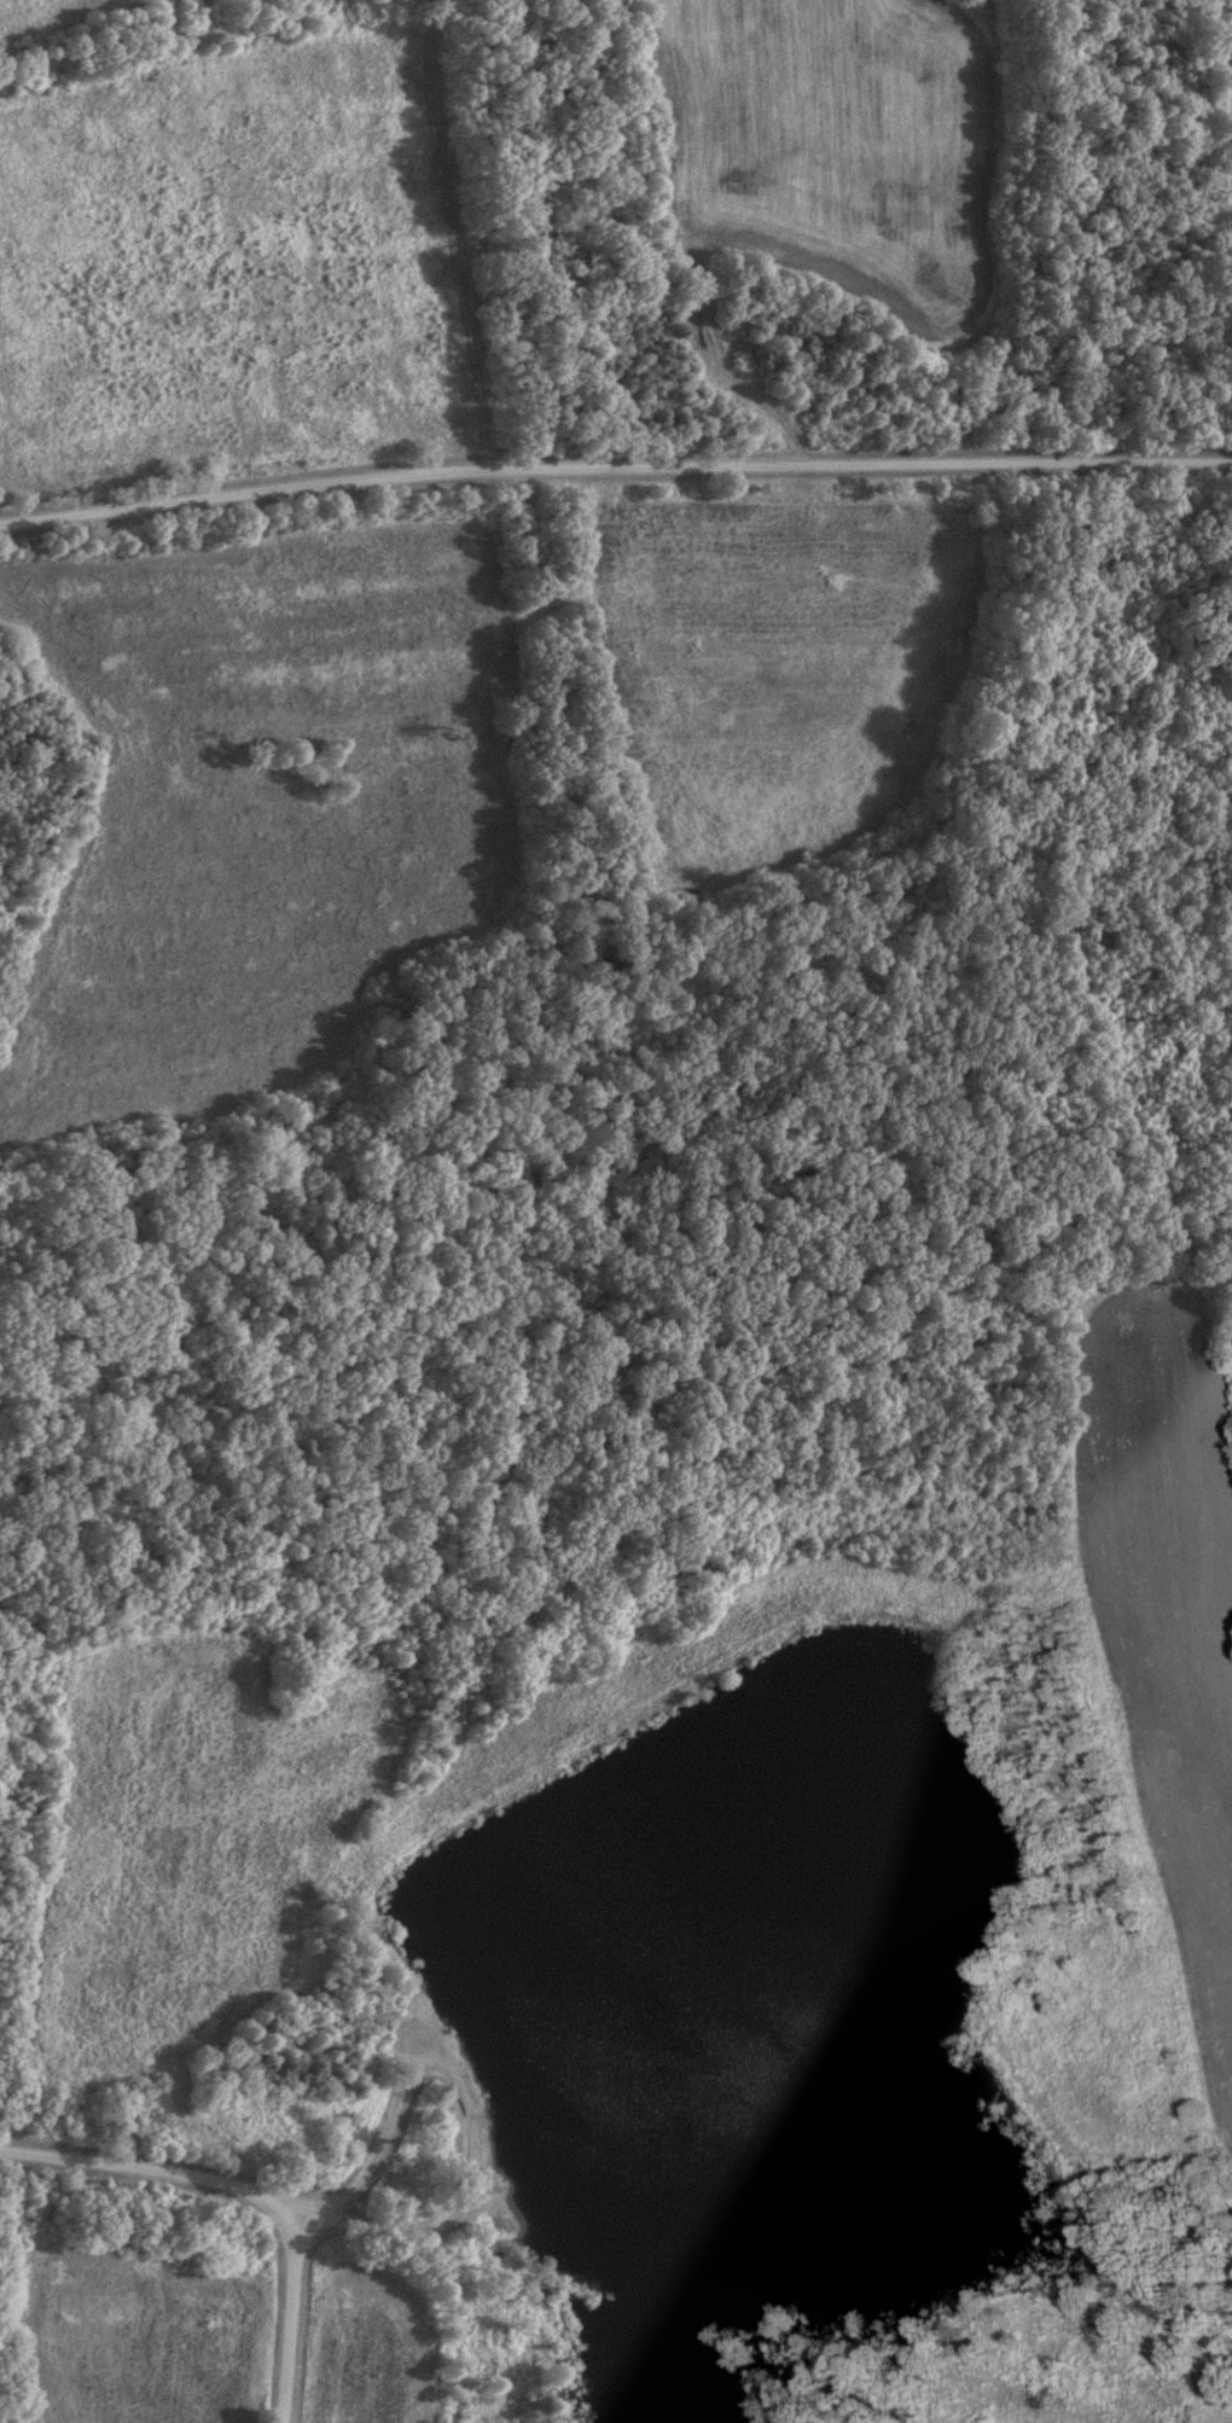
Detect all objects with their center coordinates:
road: (614, 464)
dam: (646, 1719)
parking lot: (417, 2040)
road: (467, 2102)
road: (249, 2186)
road: (306, 2214)

